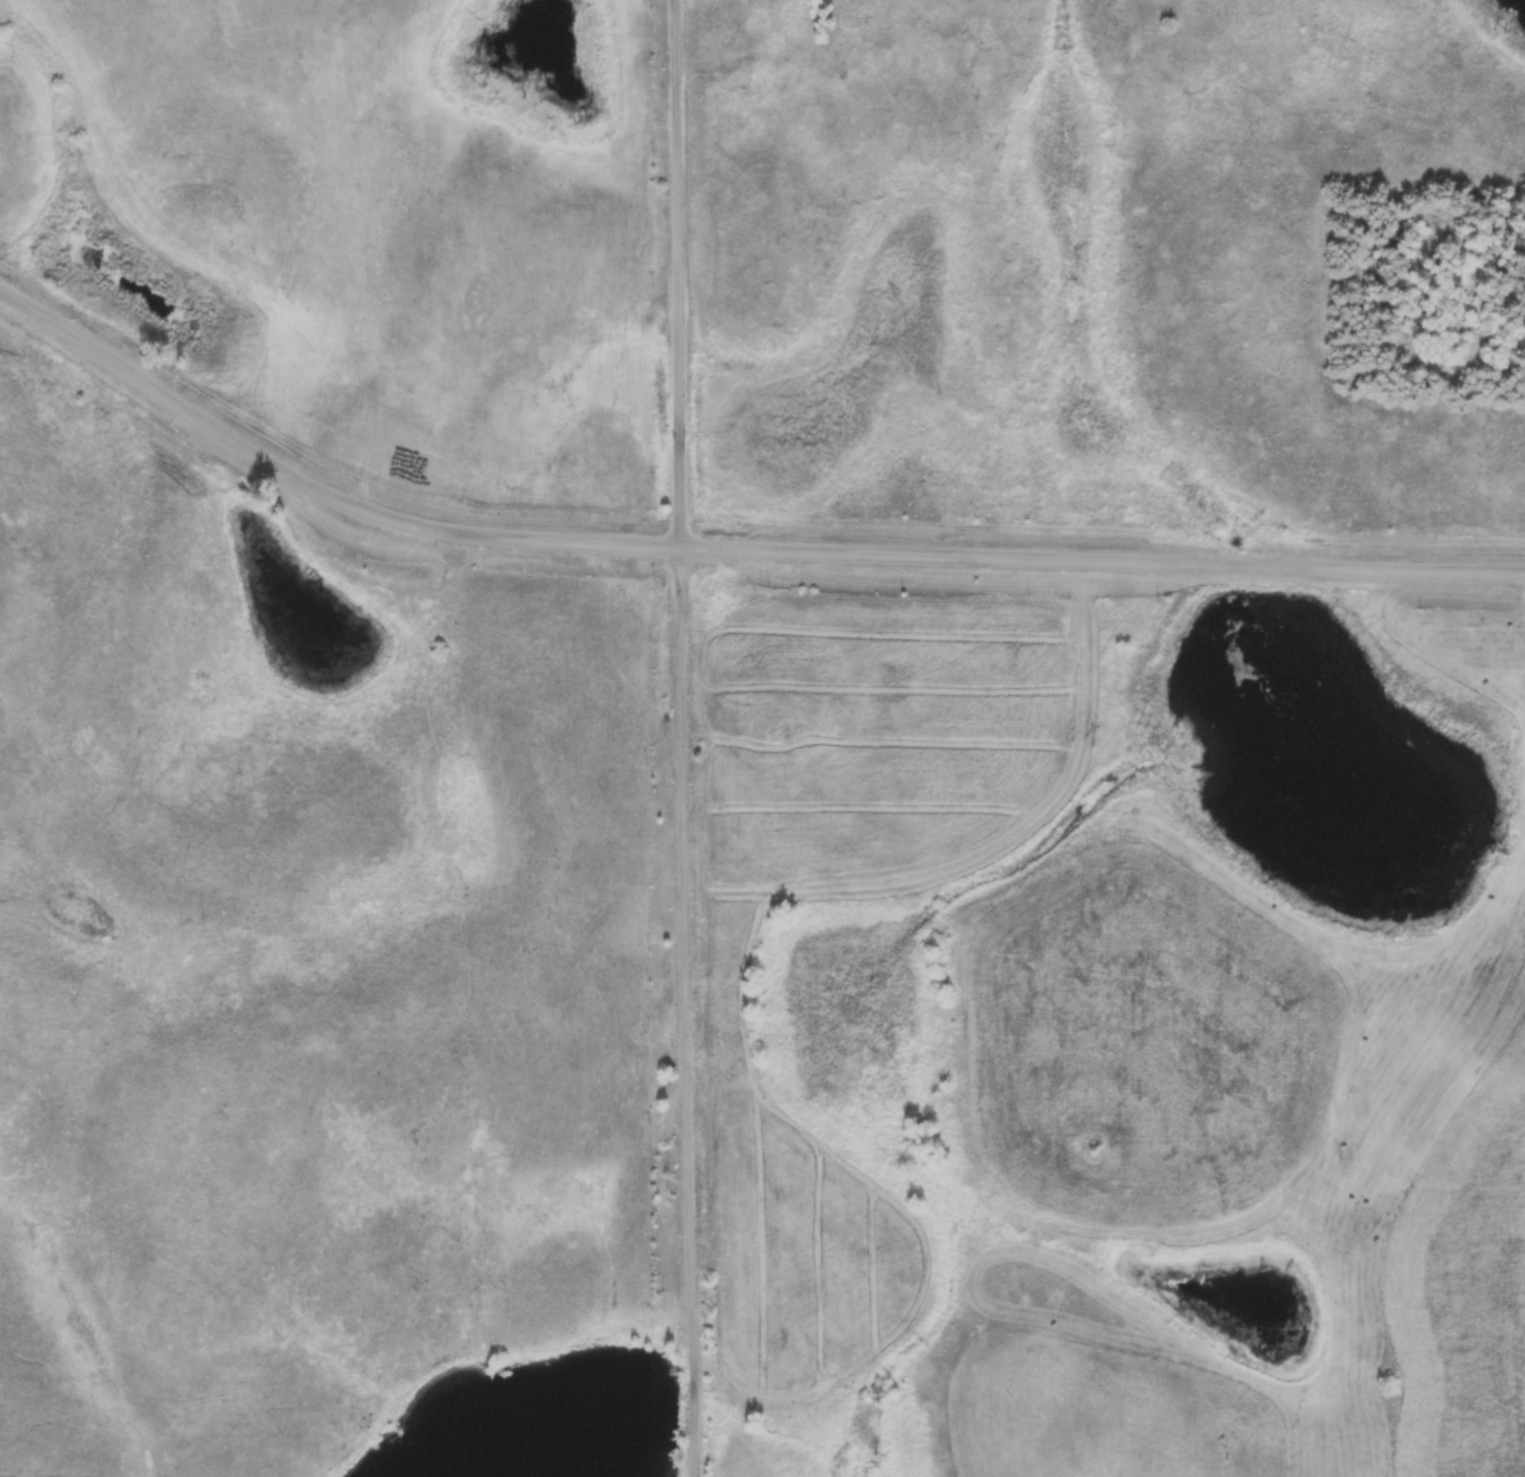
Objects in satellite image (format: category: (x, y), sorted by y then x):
road: (728, 559)
river: (1256, 683)
road: (680, 738)

